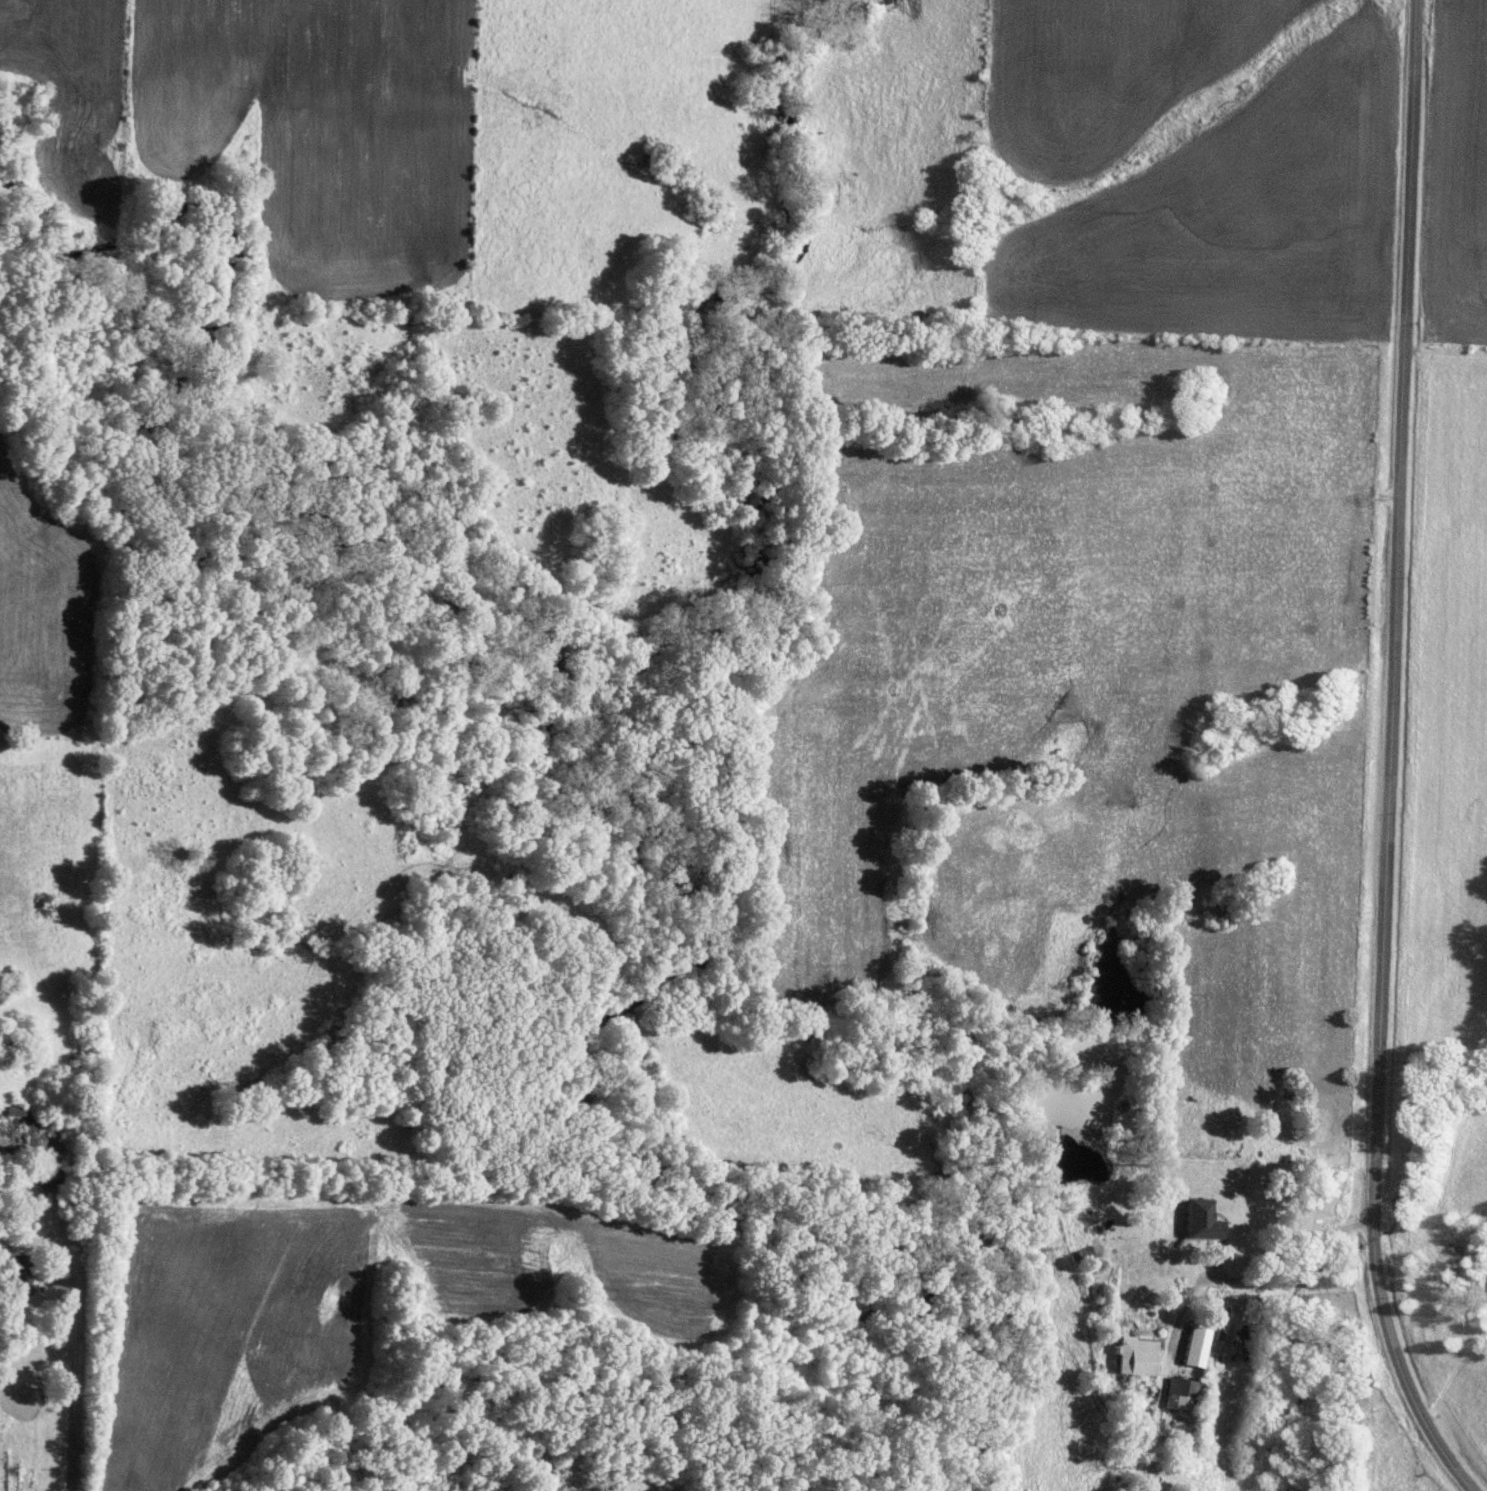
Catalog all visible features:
road: (1387, 757)
building: (9, 1111)
building: (43, 1178)
building: (0, 1248)
road: (1292, 1253)
building: (15, 1284)
road: (74, 1341)
building: (1187, 1347)
building: (1130, 1356)
building: (1179, 1394)

